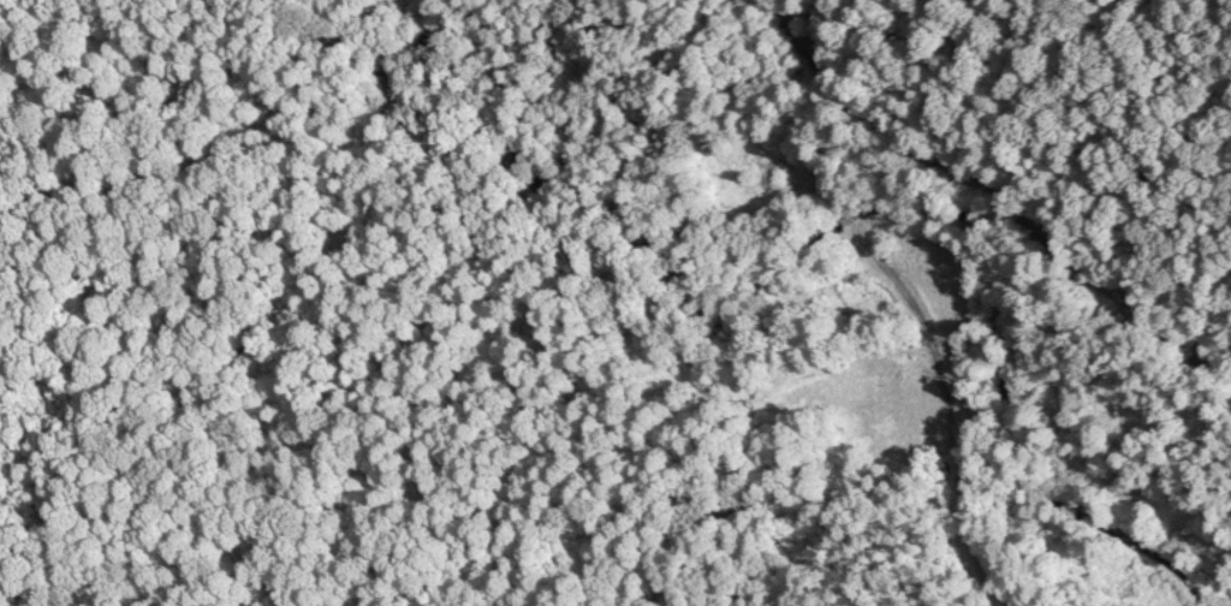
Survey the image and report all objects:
road: (994, 190)

